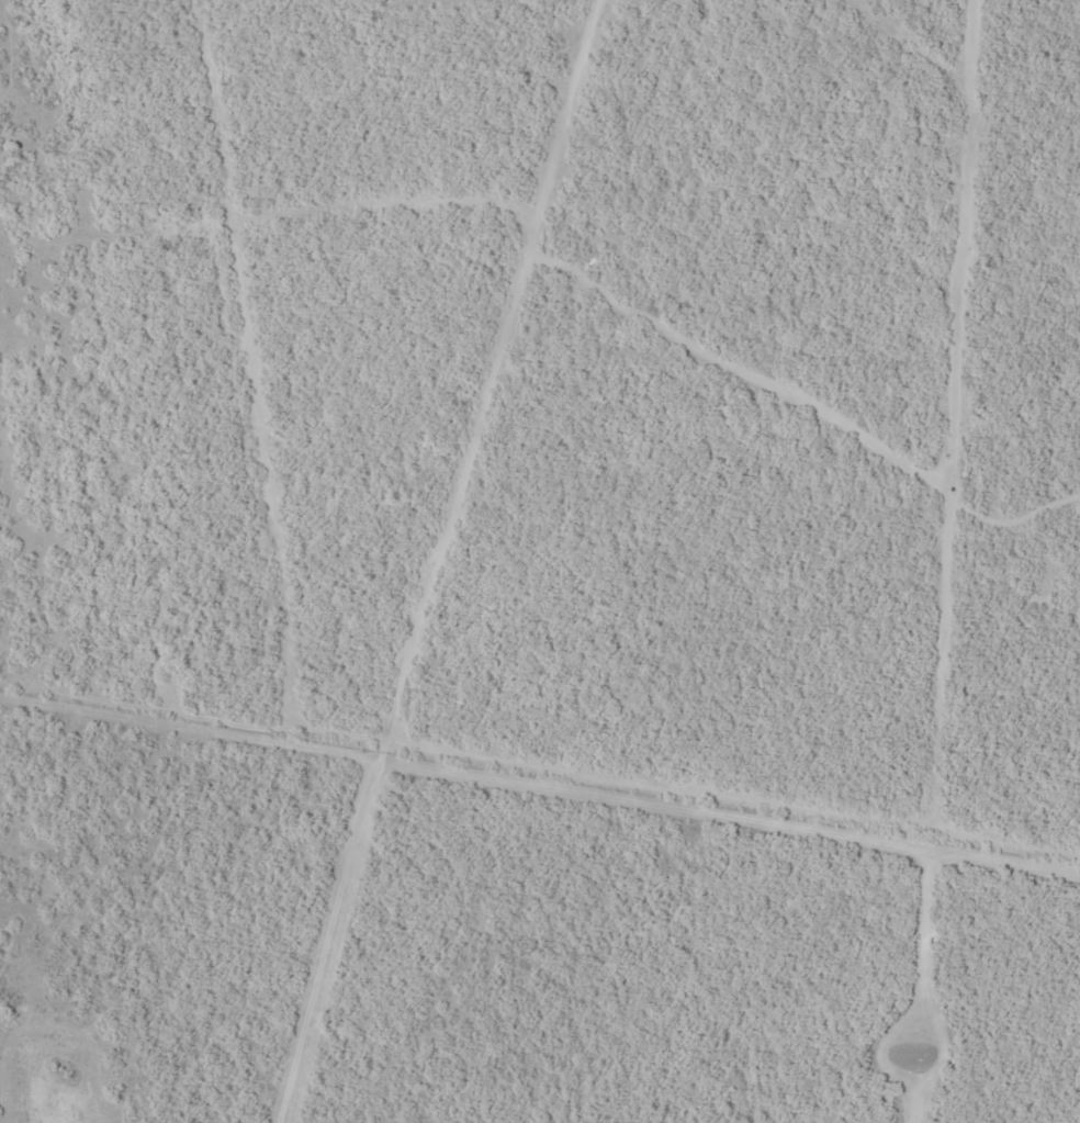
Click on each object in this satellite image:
road: (274, 565)

